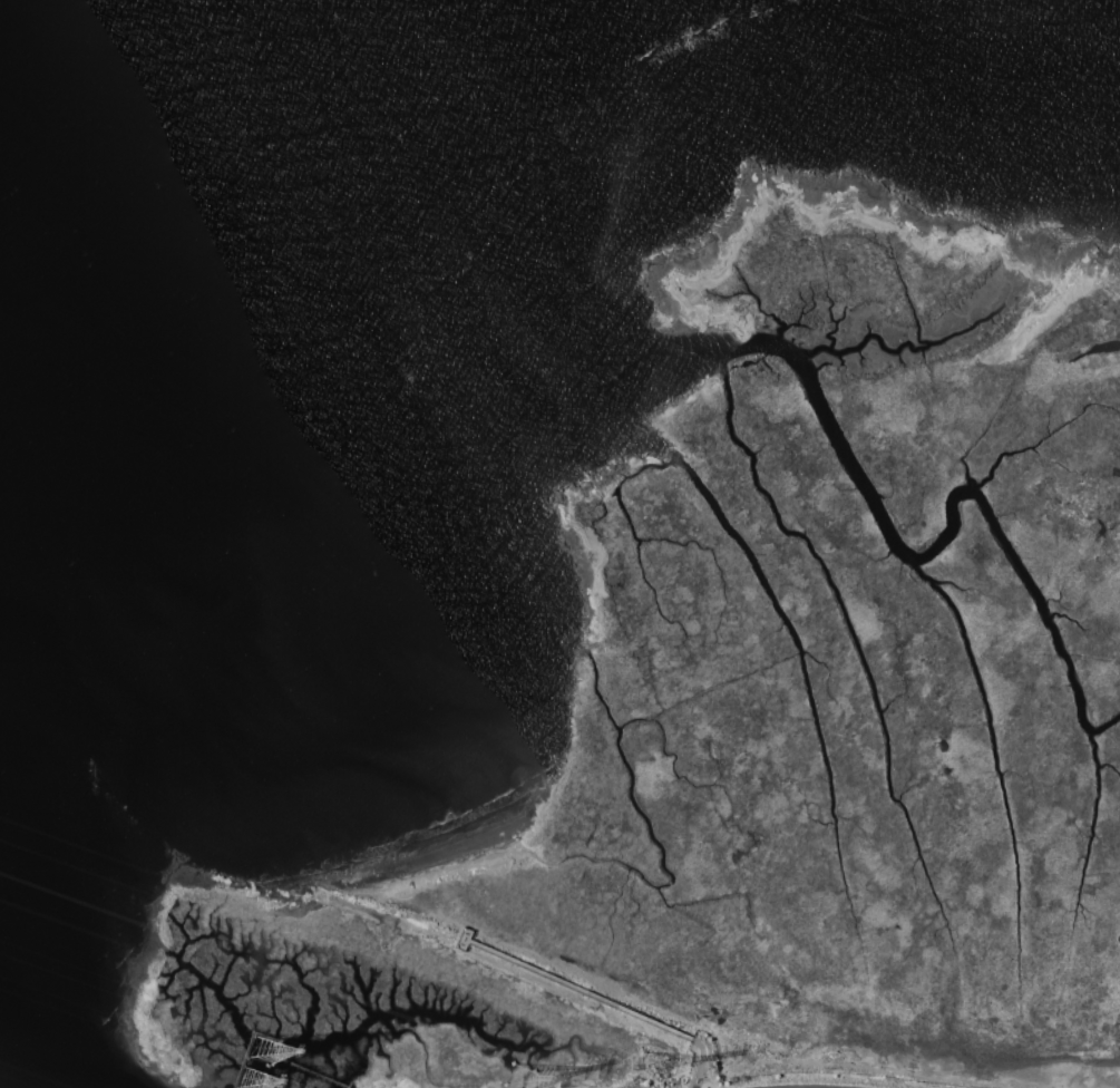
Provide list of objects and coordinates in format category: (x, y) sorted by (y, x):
pier: (564, 983)
power tower: (261, 1049)
road: (700, 1061)
power tower: (651, 1067)
power tower: (250, 1079)
power tower: (518, 1079)
road: (807, 1087)

